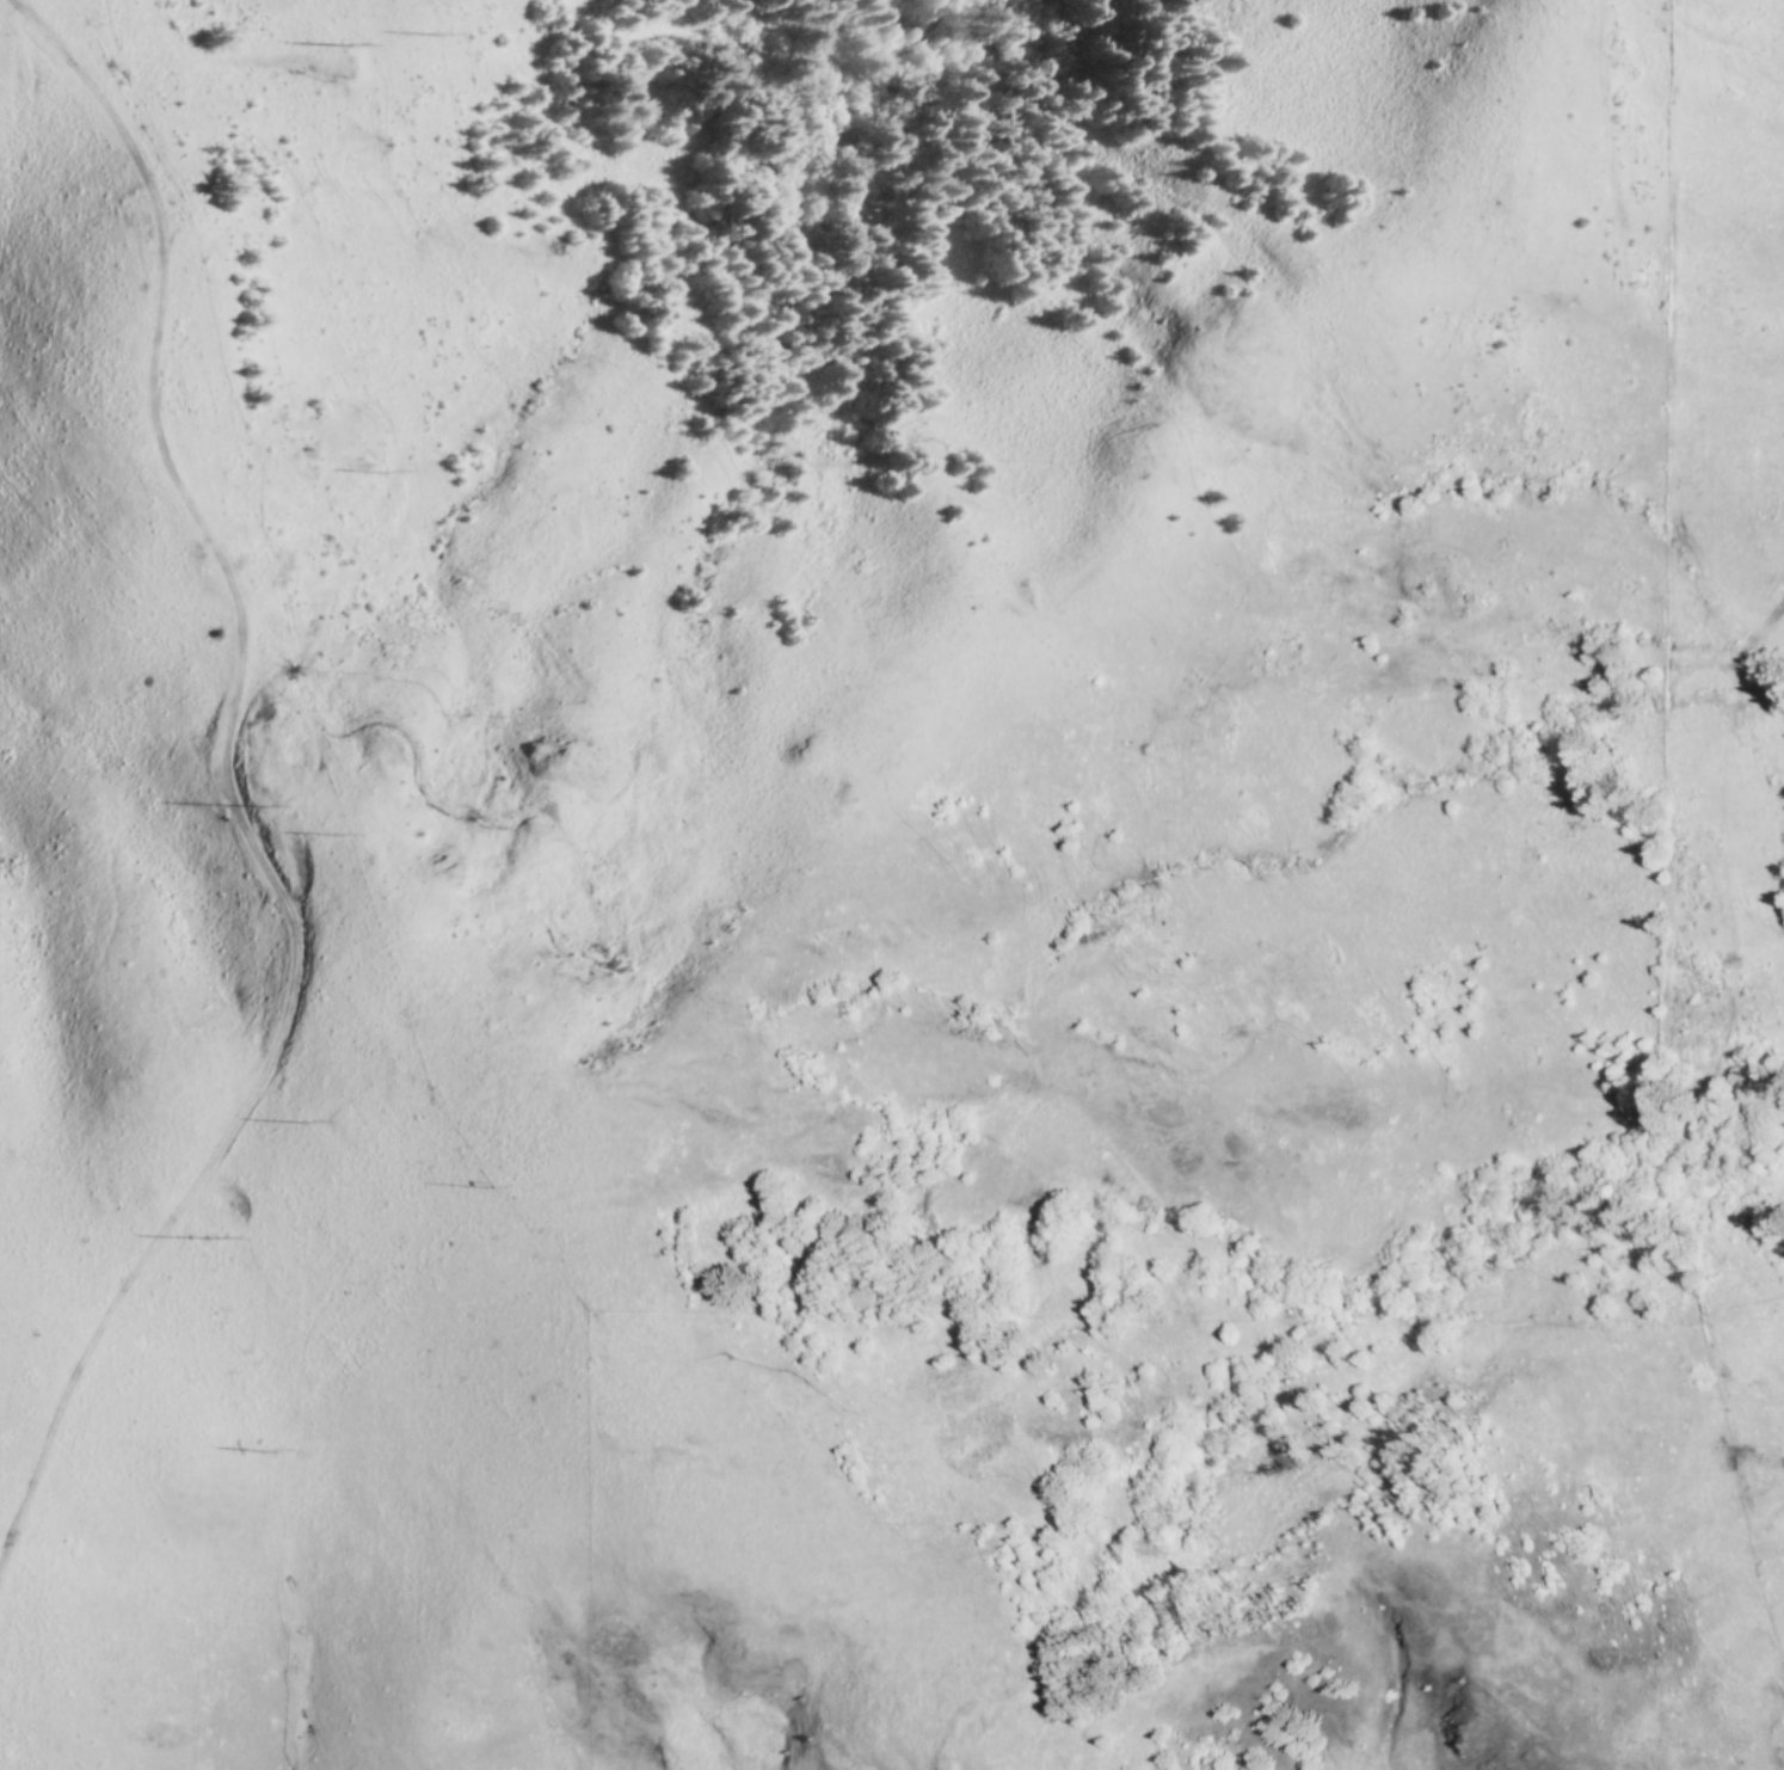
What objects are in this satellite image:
road: (246, 589)

